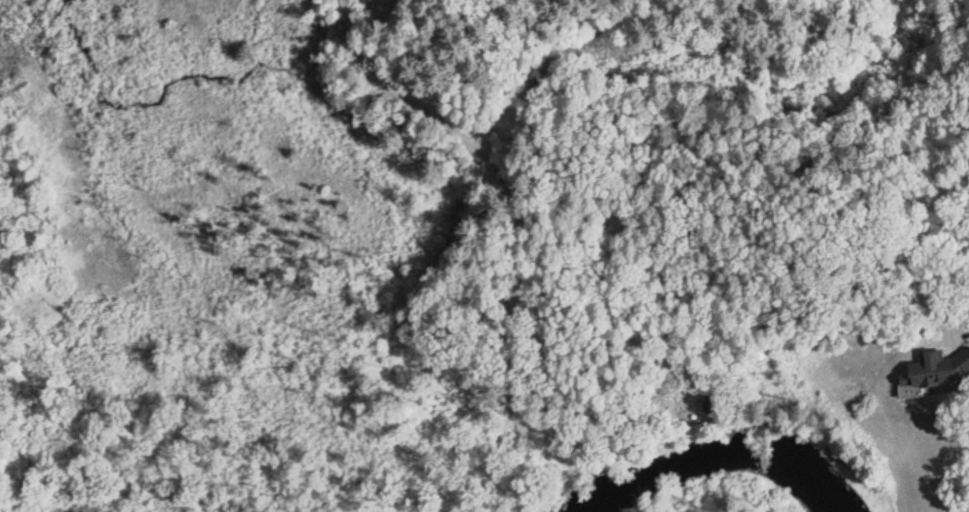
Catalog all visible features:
road: (831, 274)
building: (934, 373)
river: (723, 455)

